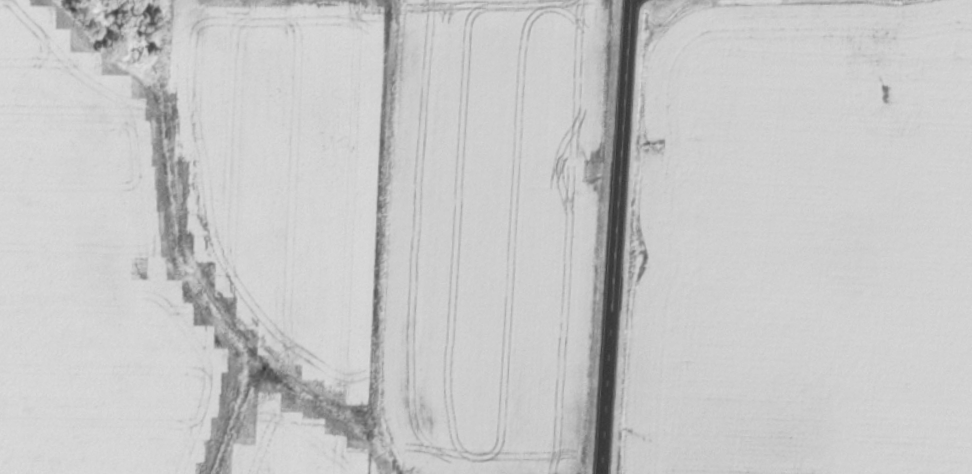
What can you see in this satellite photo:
road: (616, 237)

